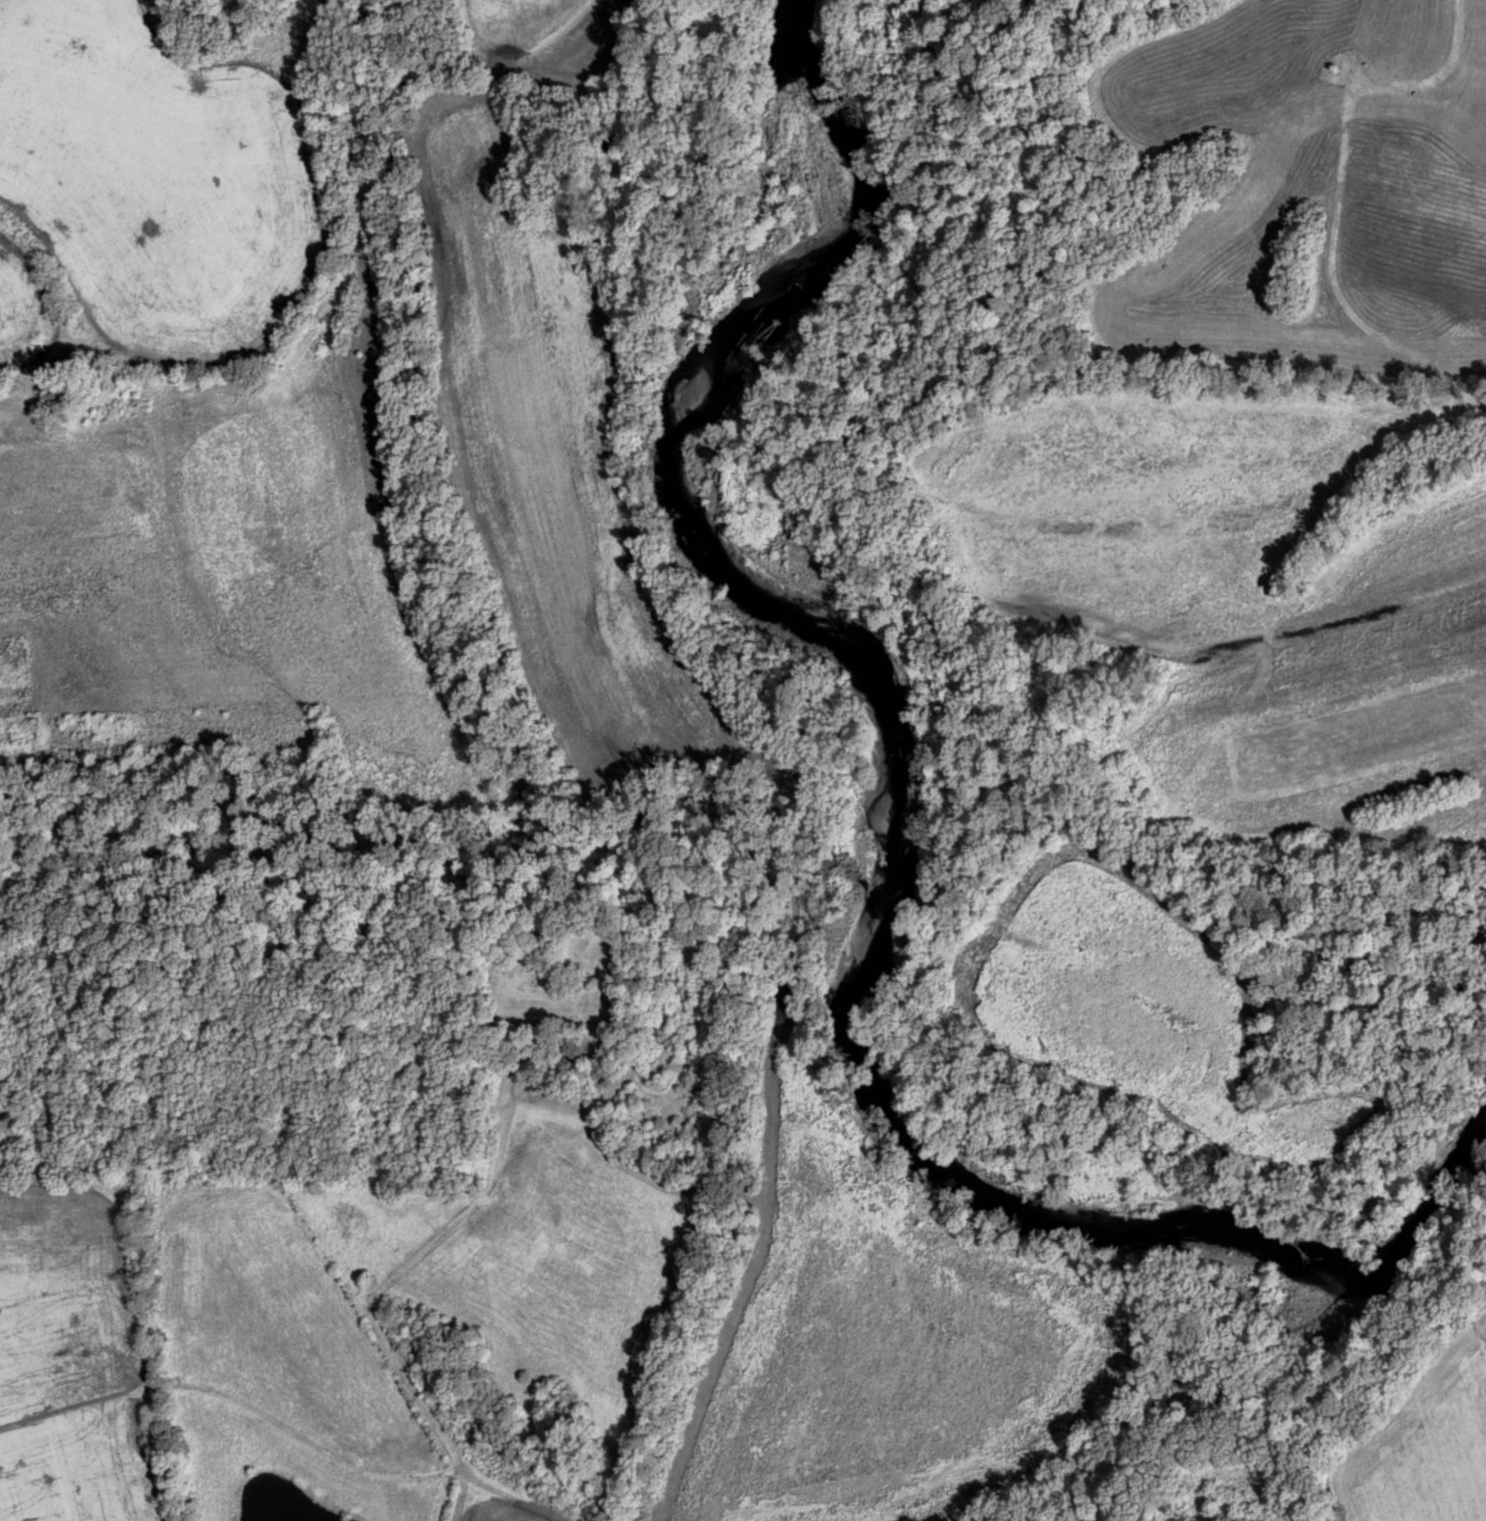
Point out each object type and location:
river: (887, 844)
park: (552, 970)

